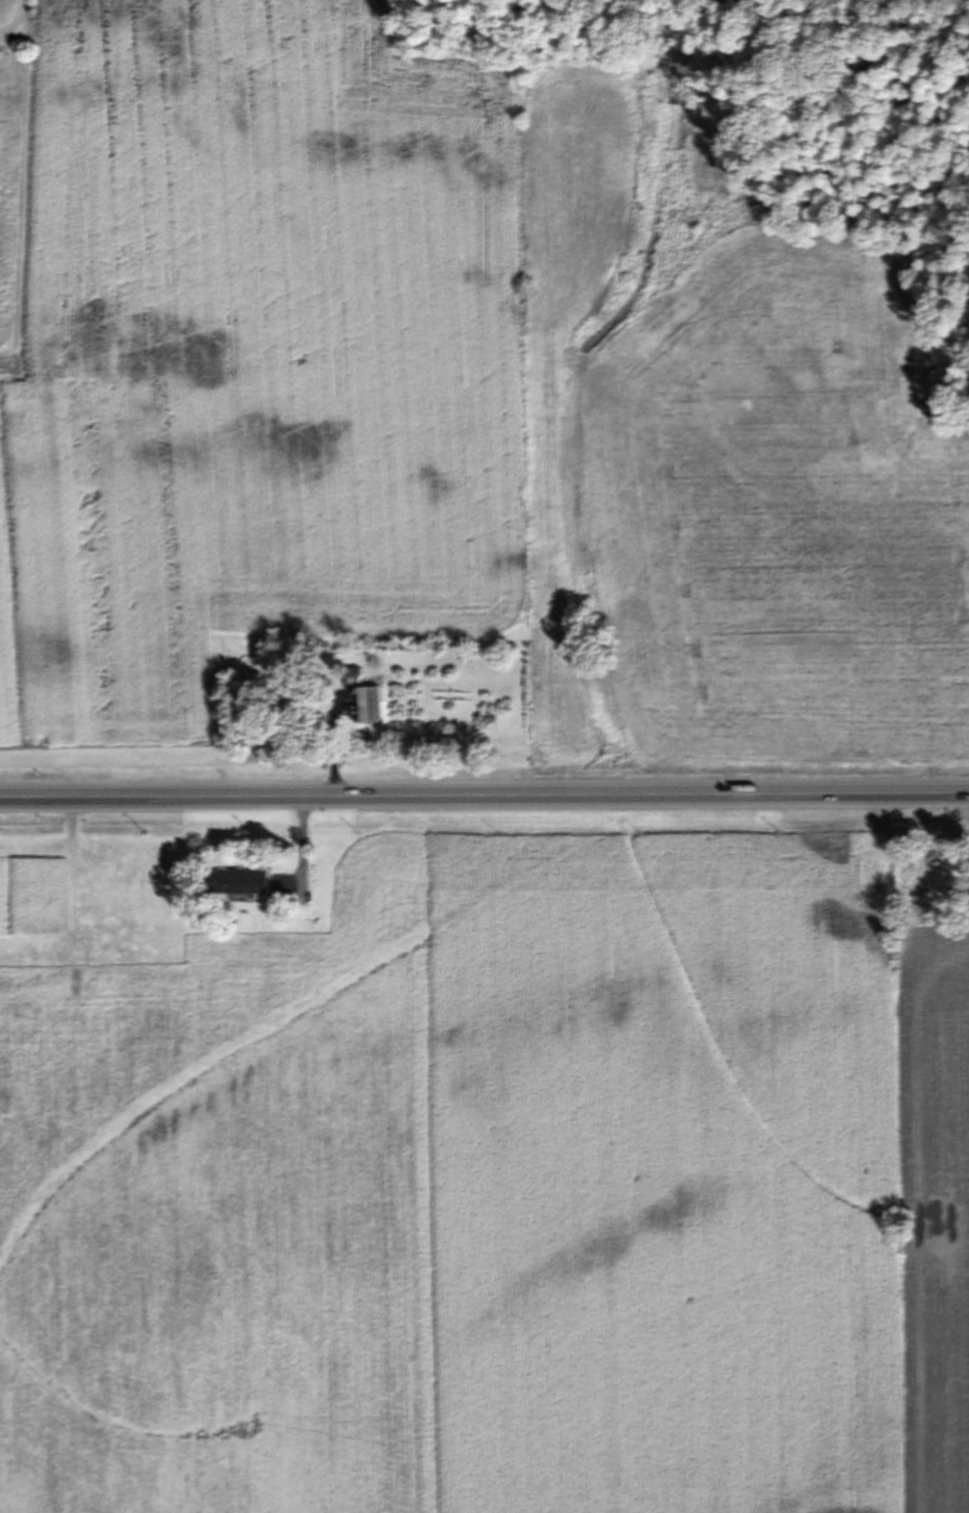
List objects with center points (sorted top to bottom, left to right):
building: (368, 707)
road: (484, 787)
building: (238, 885)

